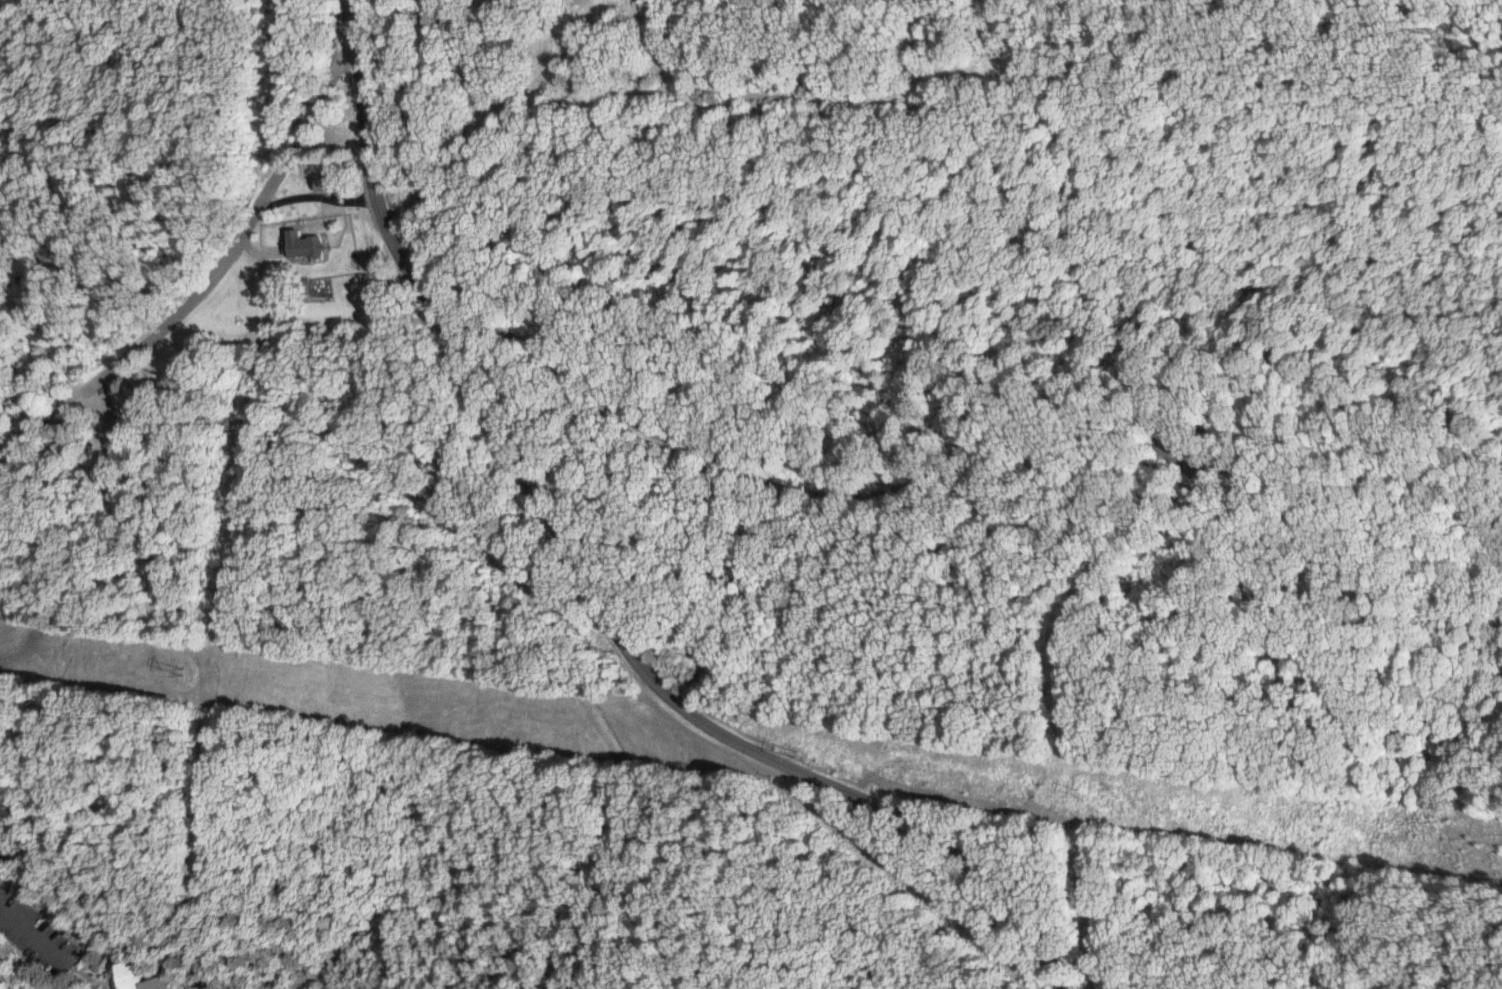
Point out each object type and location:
building: (332, 181)
road: (318, 197)
building: (308, 244)
road: (215, 280)
road: (767, 467)
road: (124, 488)
road: (596, 585)
power tower: (187, 673)
power tower: (798, 757)
power tower: (1083, 791)
road: (54, 937)
building: (144, 978)

